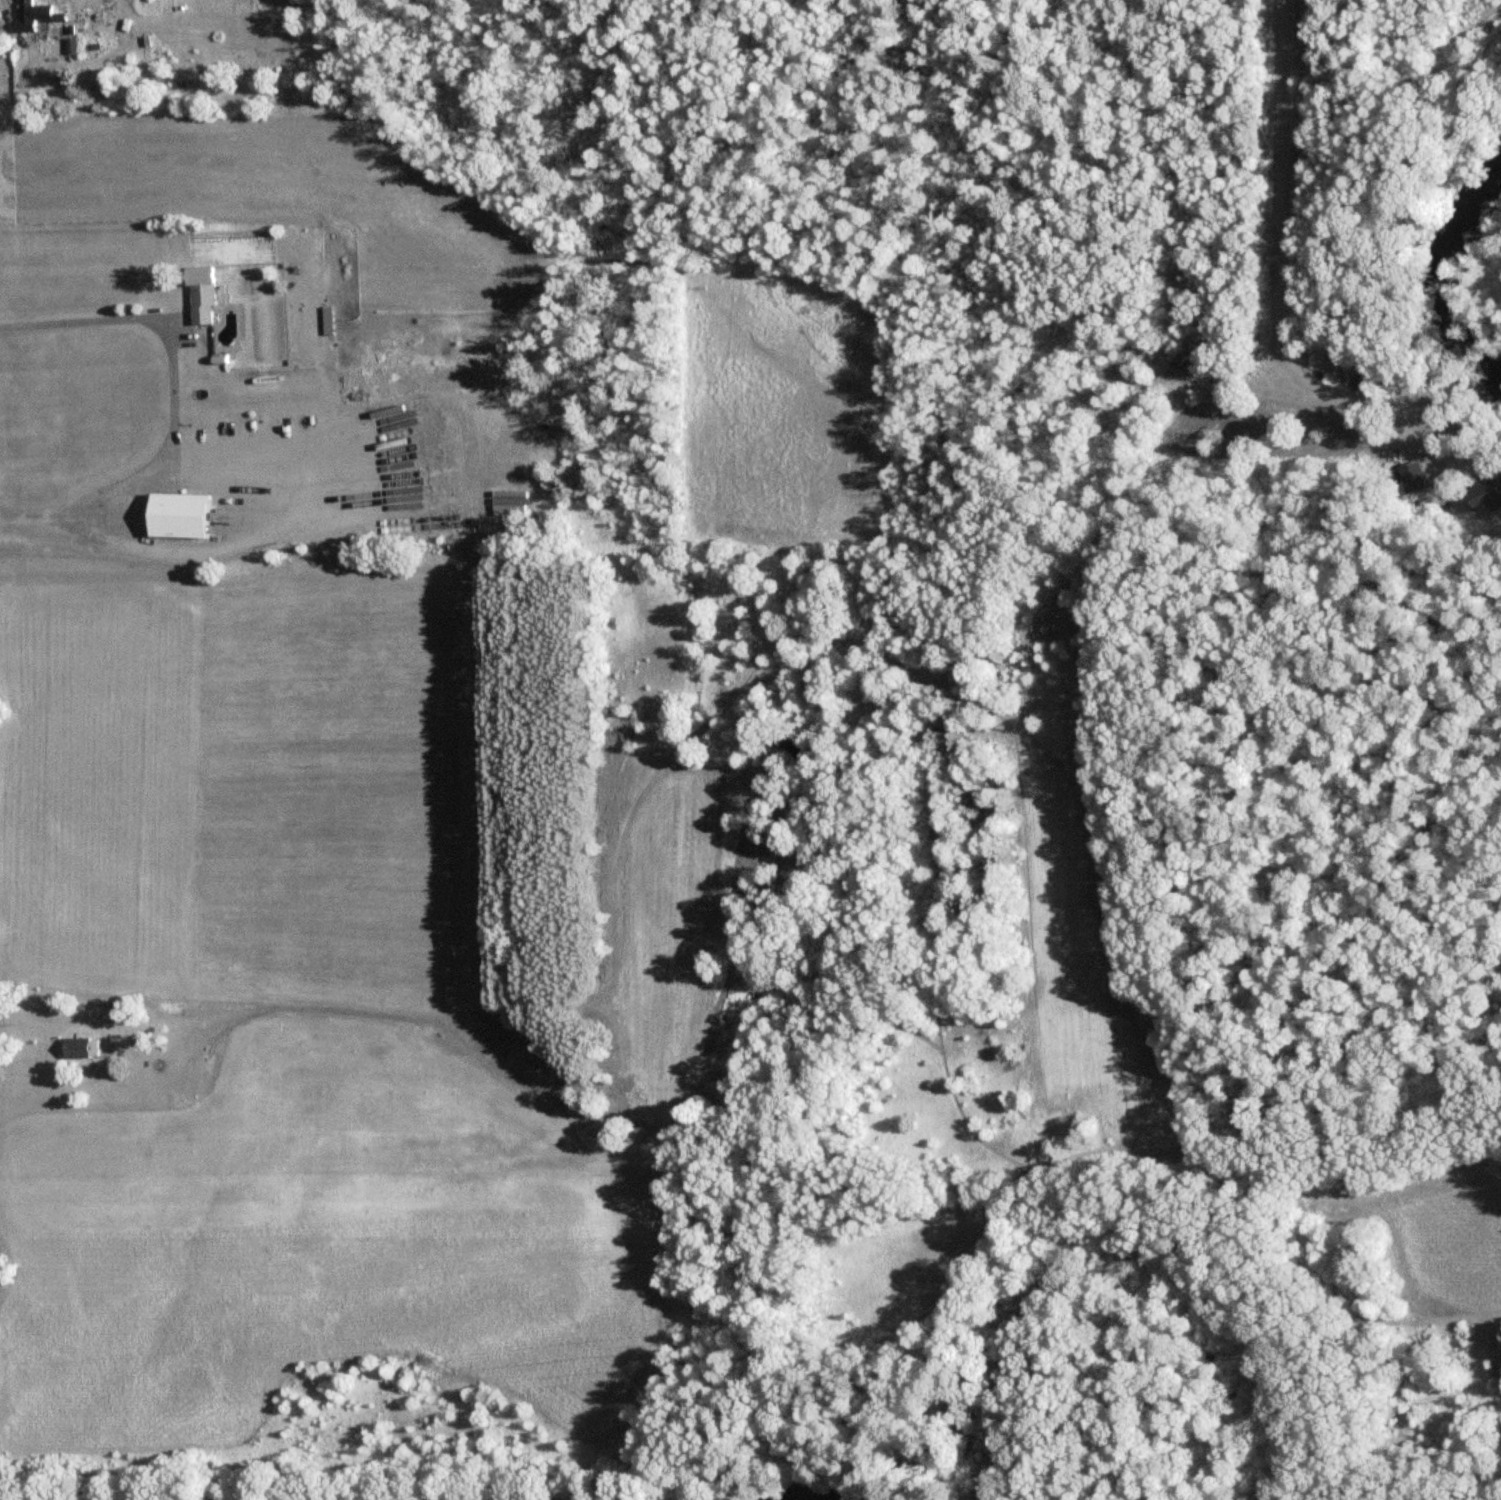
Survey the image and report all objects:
building: (29, 15)
road: (1280, 101)
river: (1447, 268)
building: (196, 294)
road: (171, 403)
building: (1410, 478)
building: (1482, 500)
building: (171, 515)
building: (86, 1049)

